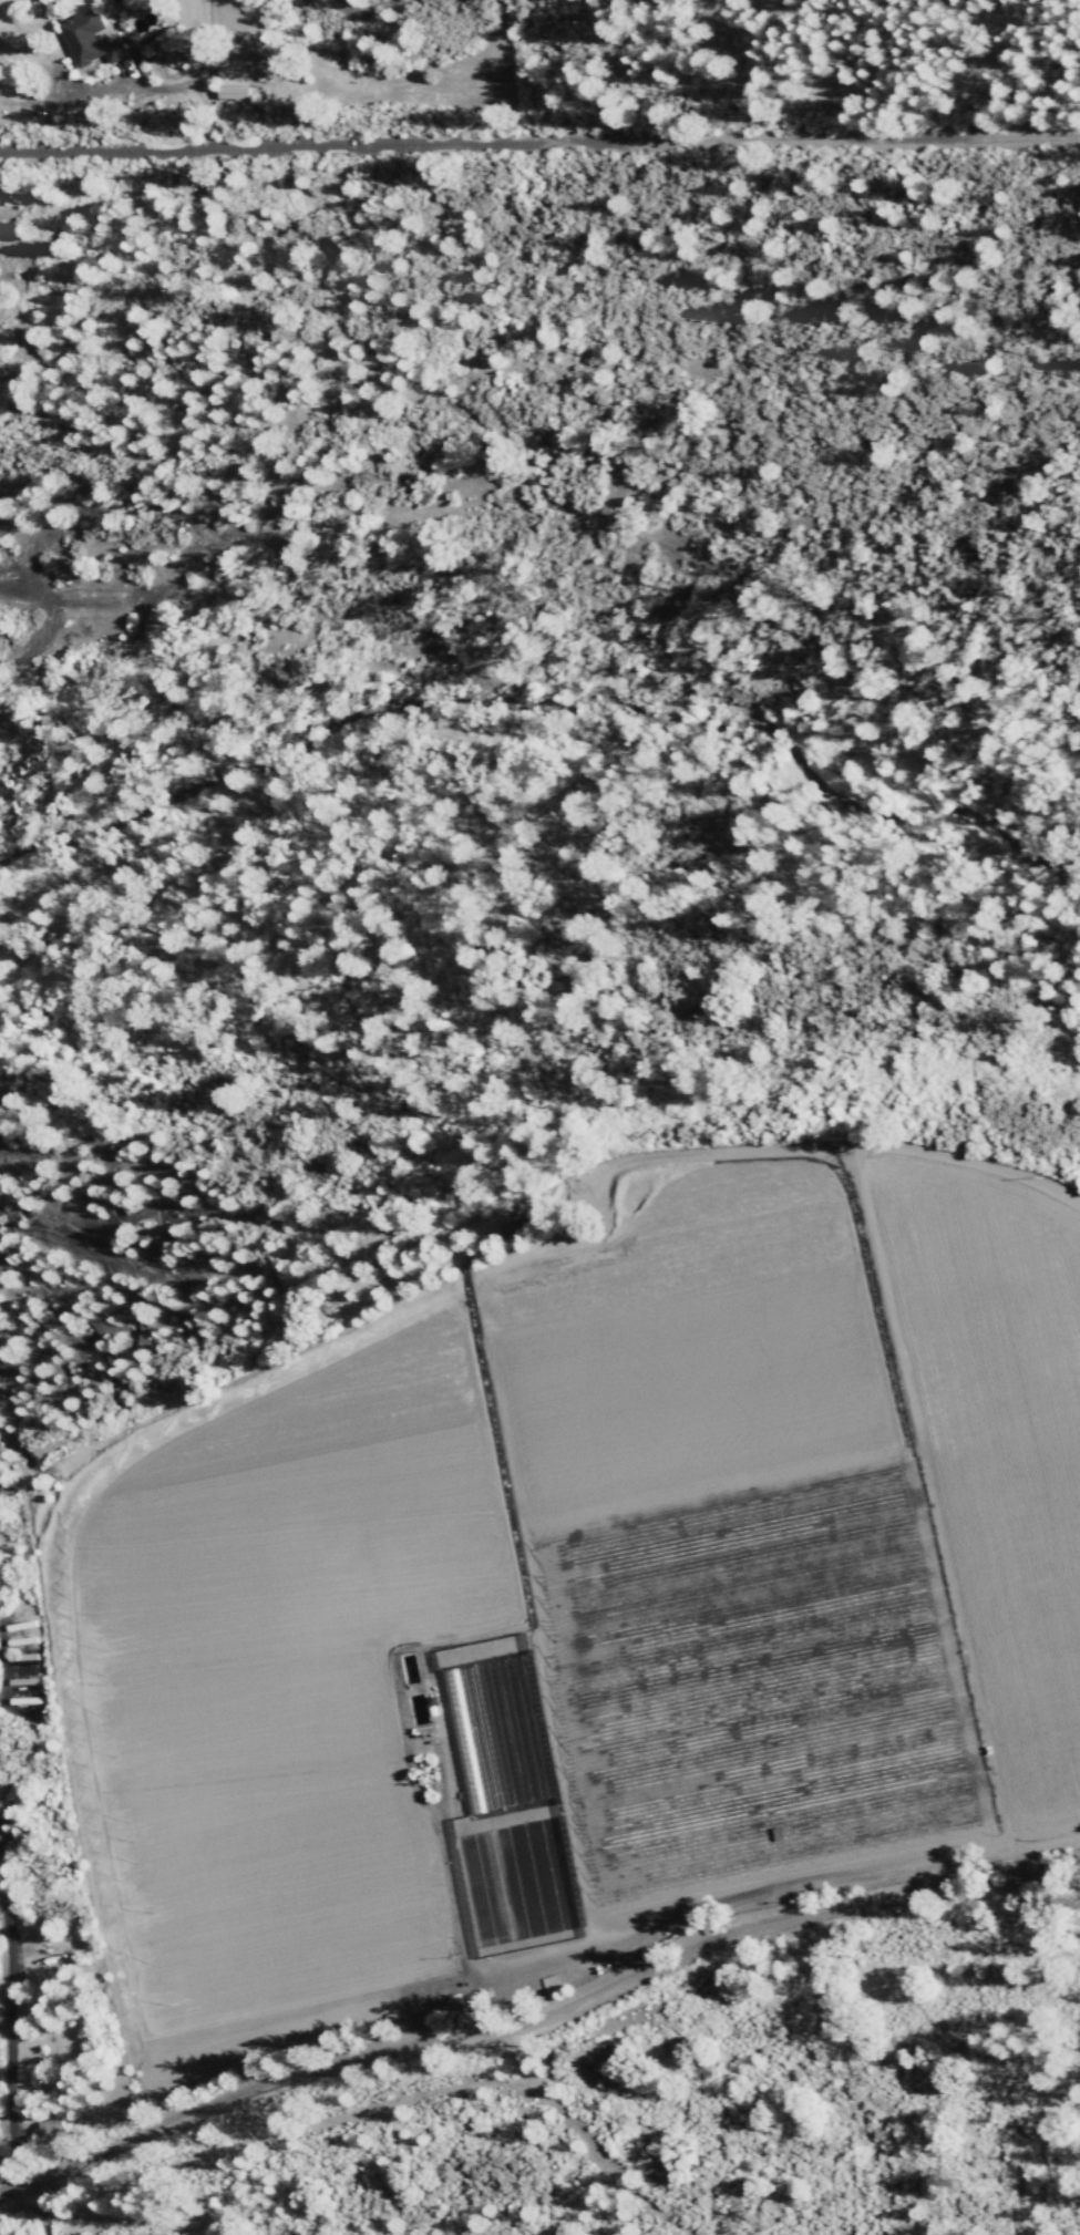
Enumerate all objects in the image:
building: (90, 41)
building: (232, 85)
road: (539, 146)
road: (0, 1698)
road: (549, 2011)
road: (12, 2030)
road: (588, 2139)
road: (11, 2192)
road: (42, 2208)

